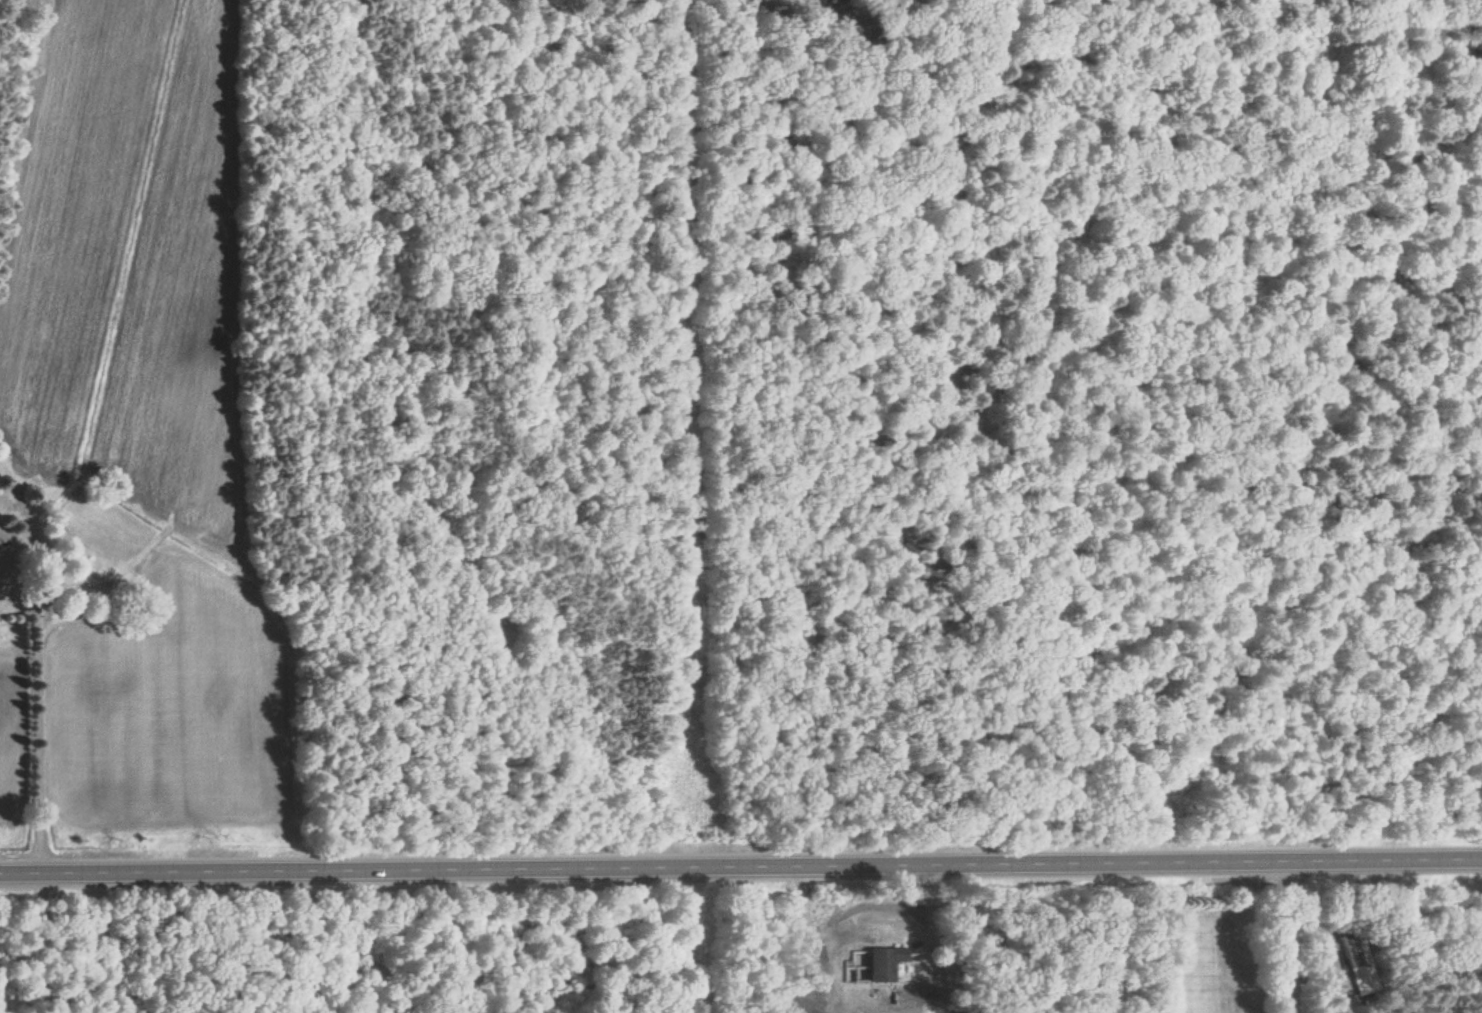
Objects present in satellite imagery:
road: (38, 706)
road: (741, 867)
building: (1353, 962)
building: (879, 963)

